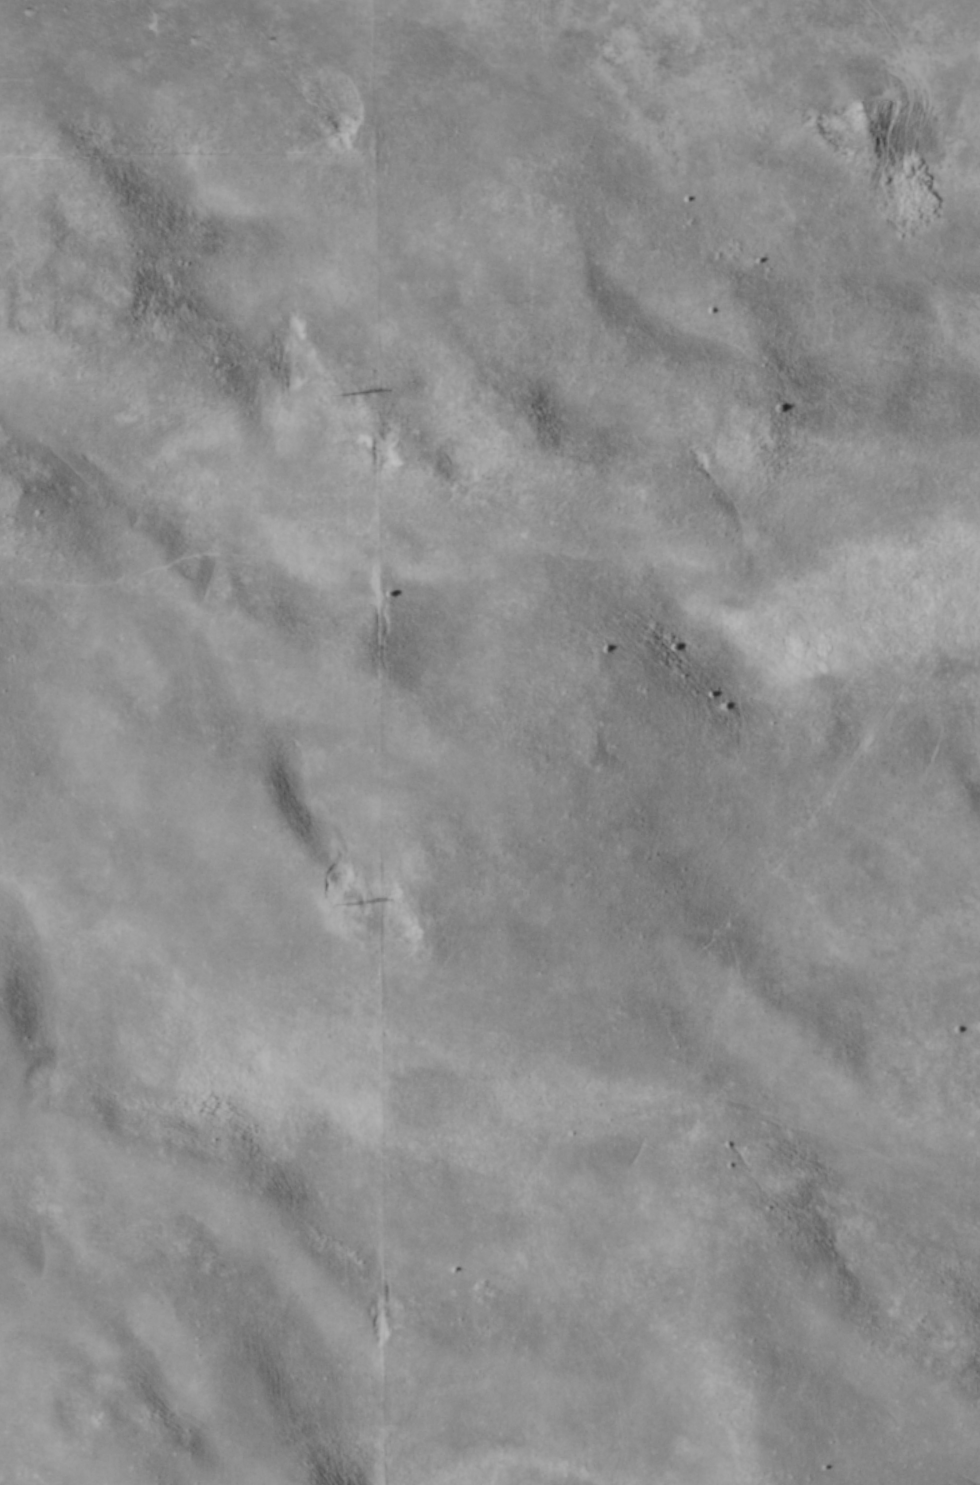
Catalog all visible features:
power tower: (345, 397)
power tower: (348, 906)

